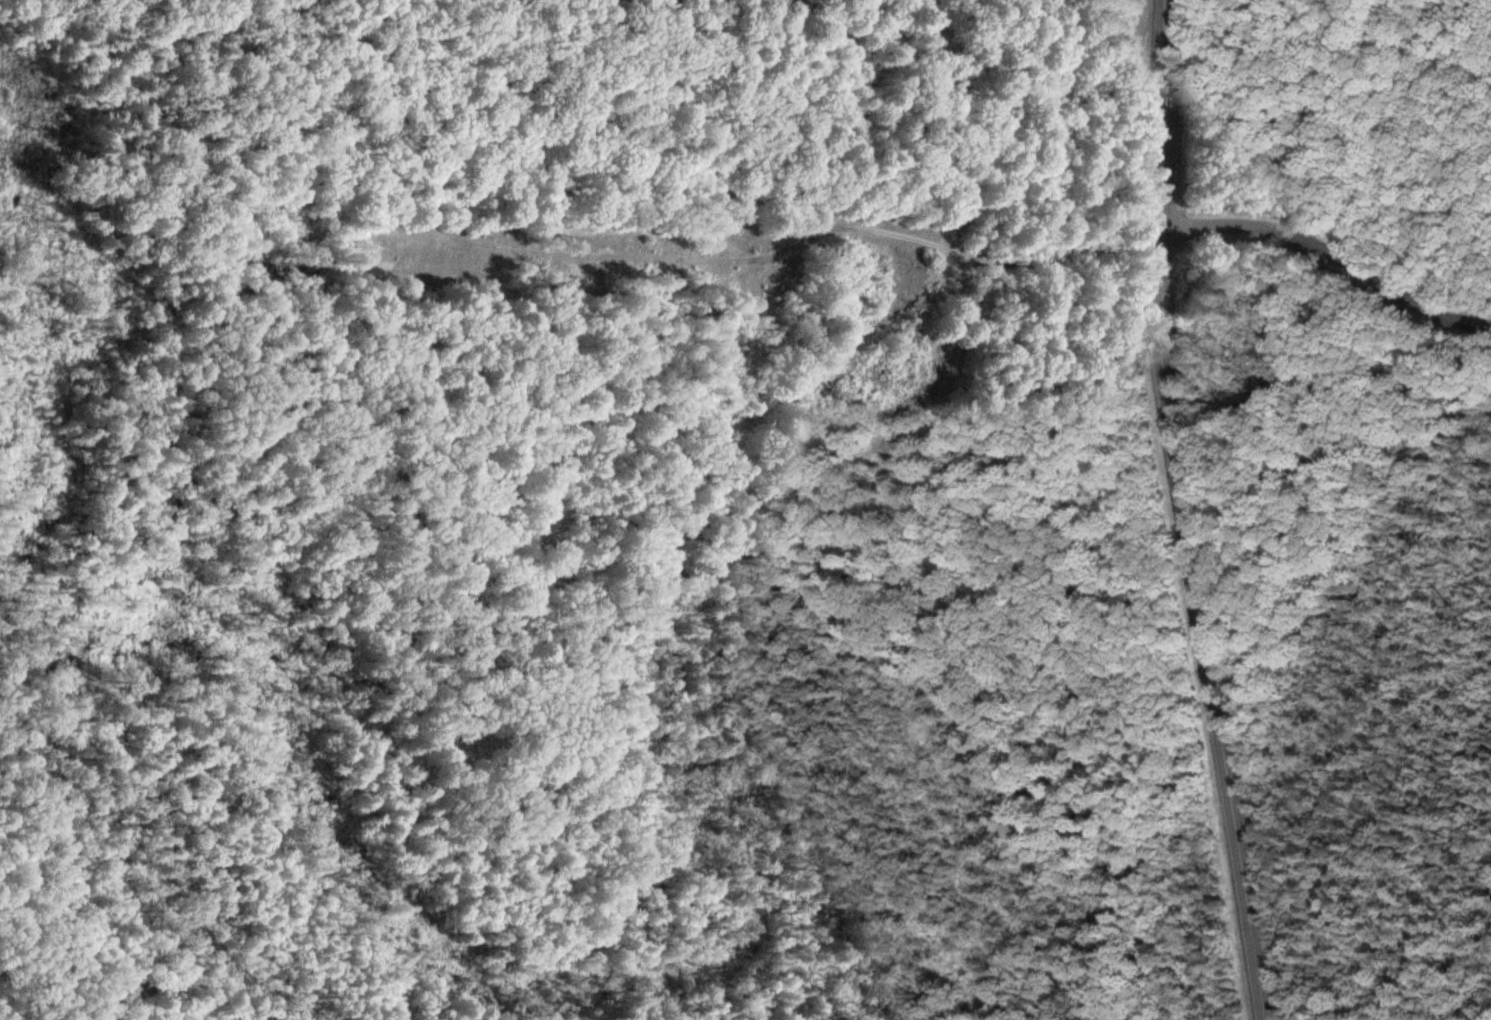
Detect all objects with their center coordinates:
road: (576, 190)
road: (1330, 253)
road: (1186, 511)
road: (86, 918)

